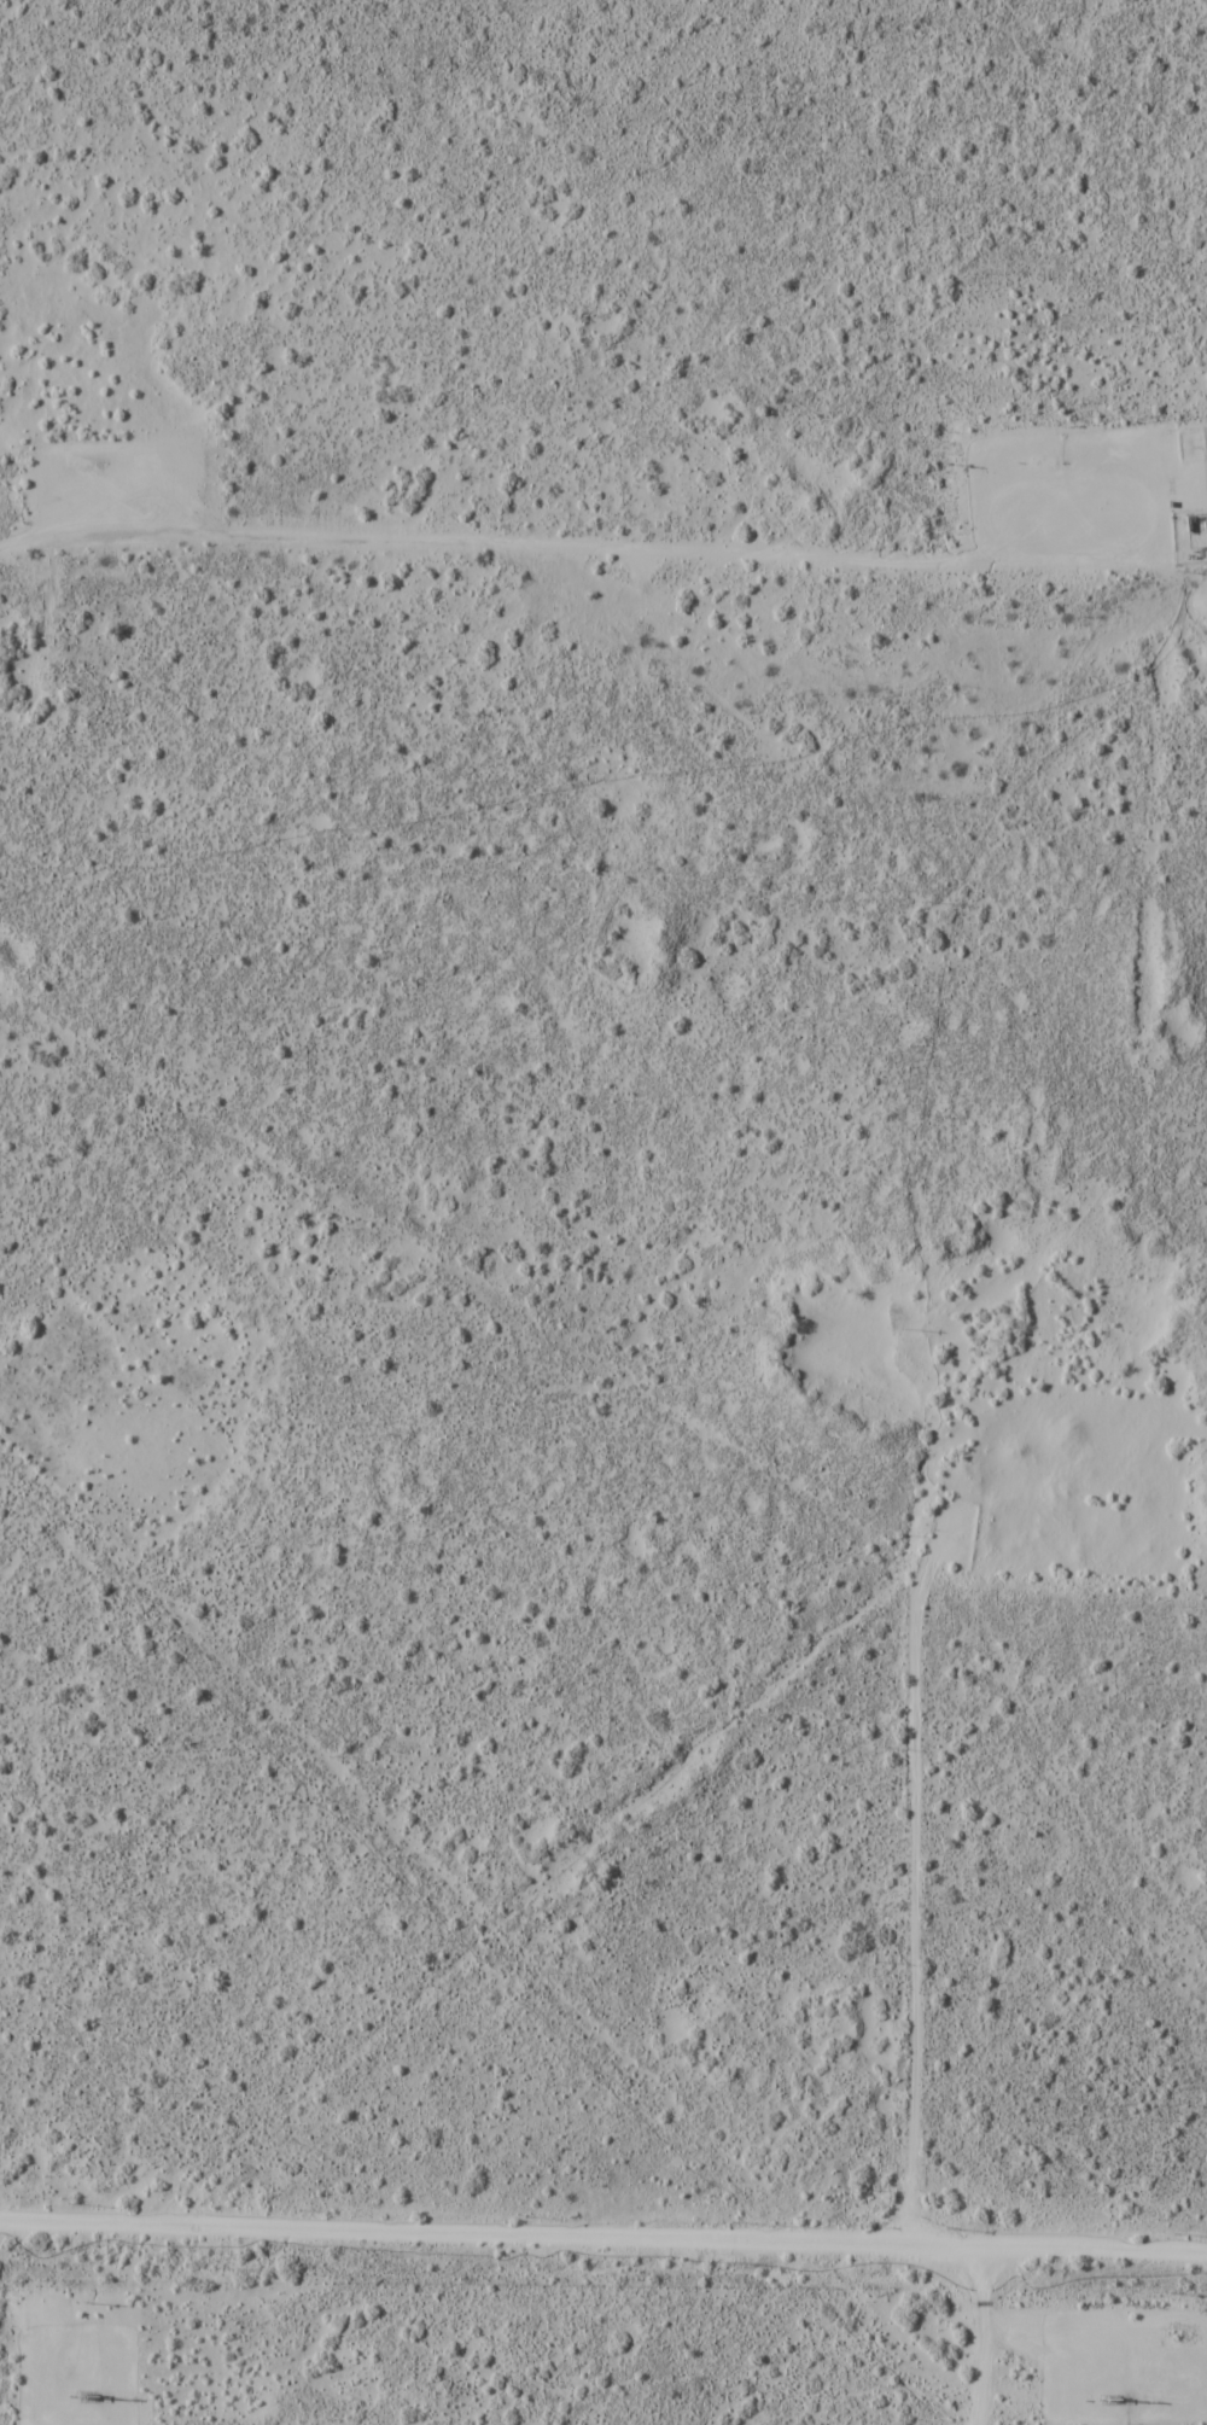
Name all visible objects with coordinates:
petroleum well: (1061, 461)
petroleum well: (105, 464)
road: (509, 543)
road: (908, 1900)
road: (602, 2233)
road: (987, 2333)
road: (37, 2388)
petroleum well: (1100, 2388)
petroleum well: (82, 2394)

